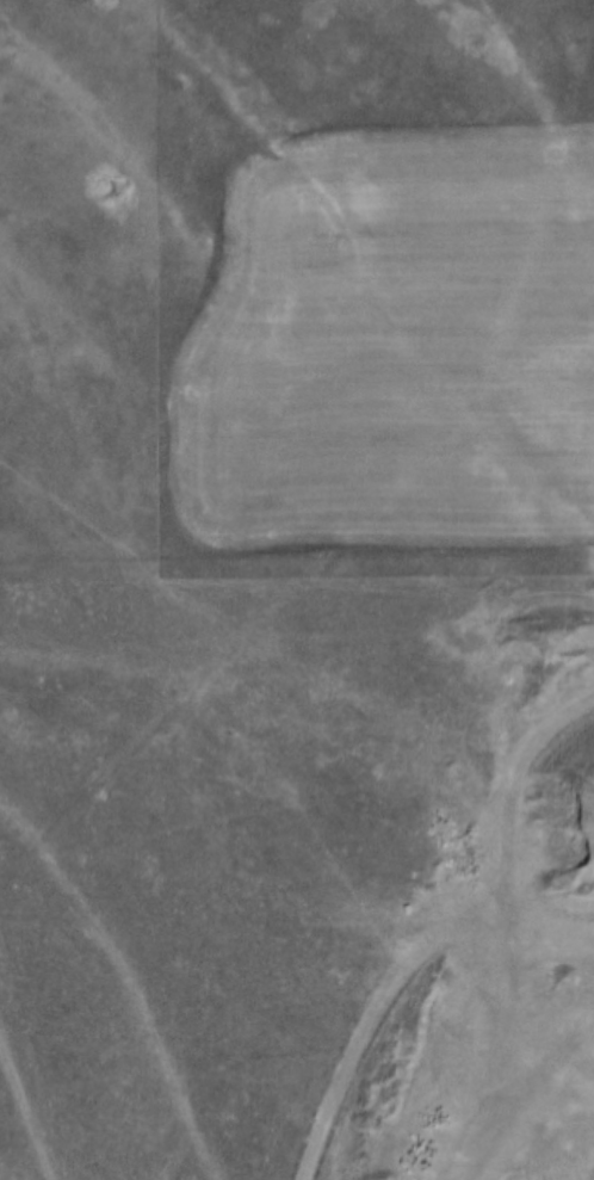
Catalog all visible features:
road: (33, 1049)

